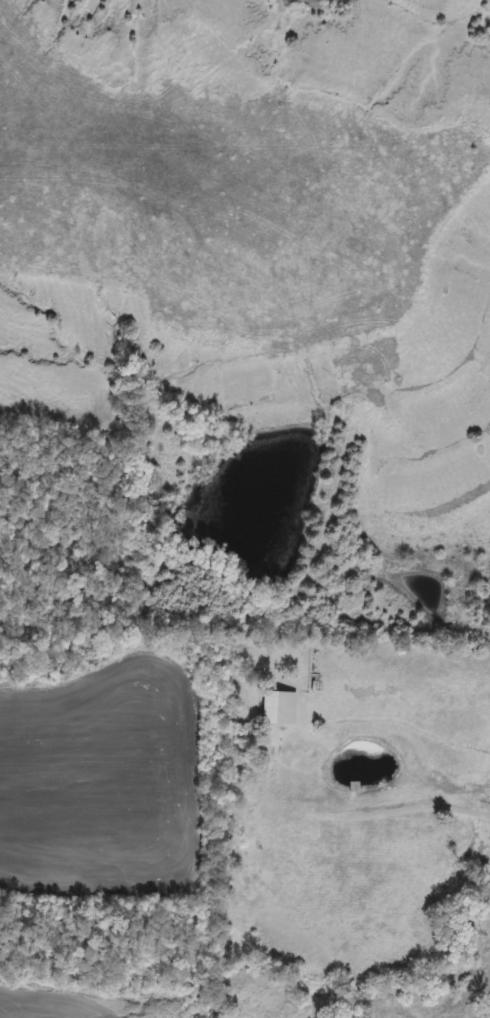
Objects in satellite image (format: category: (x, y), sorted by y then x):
building: (278, 709)

